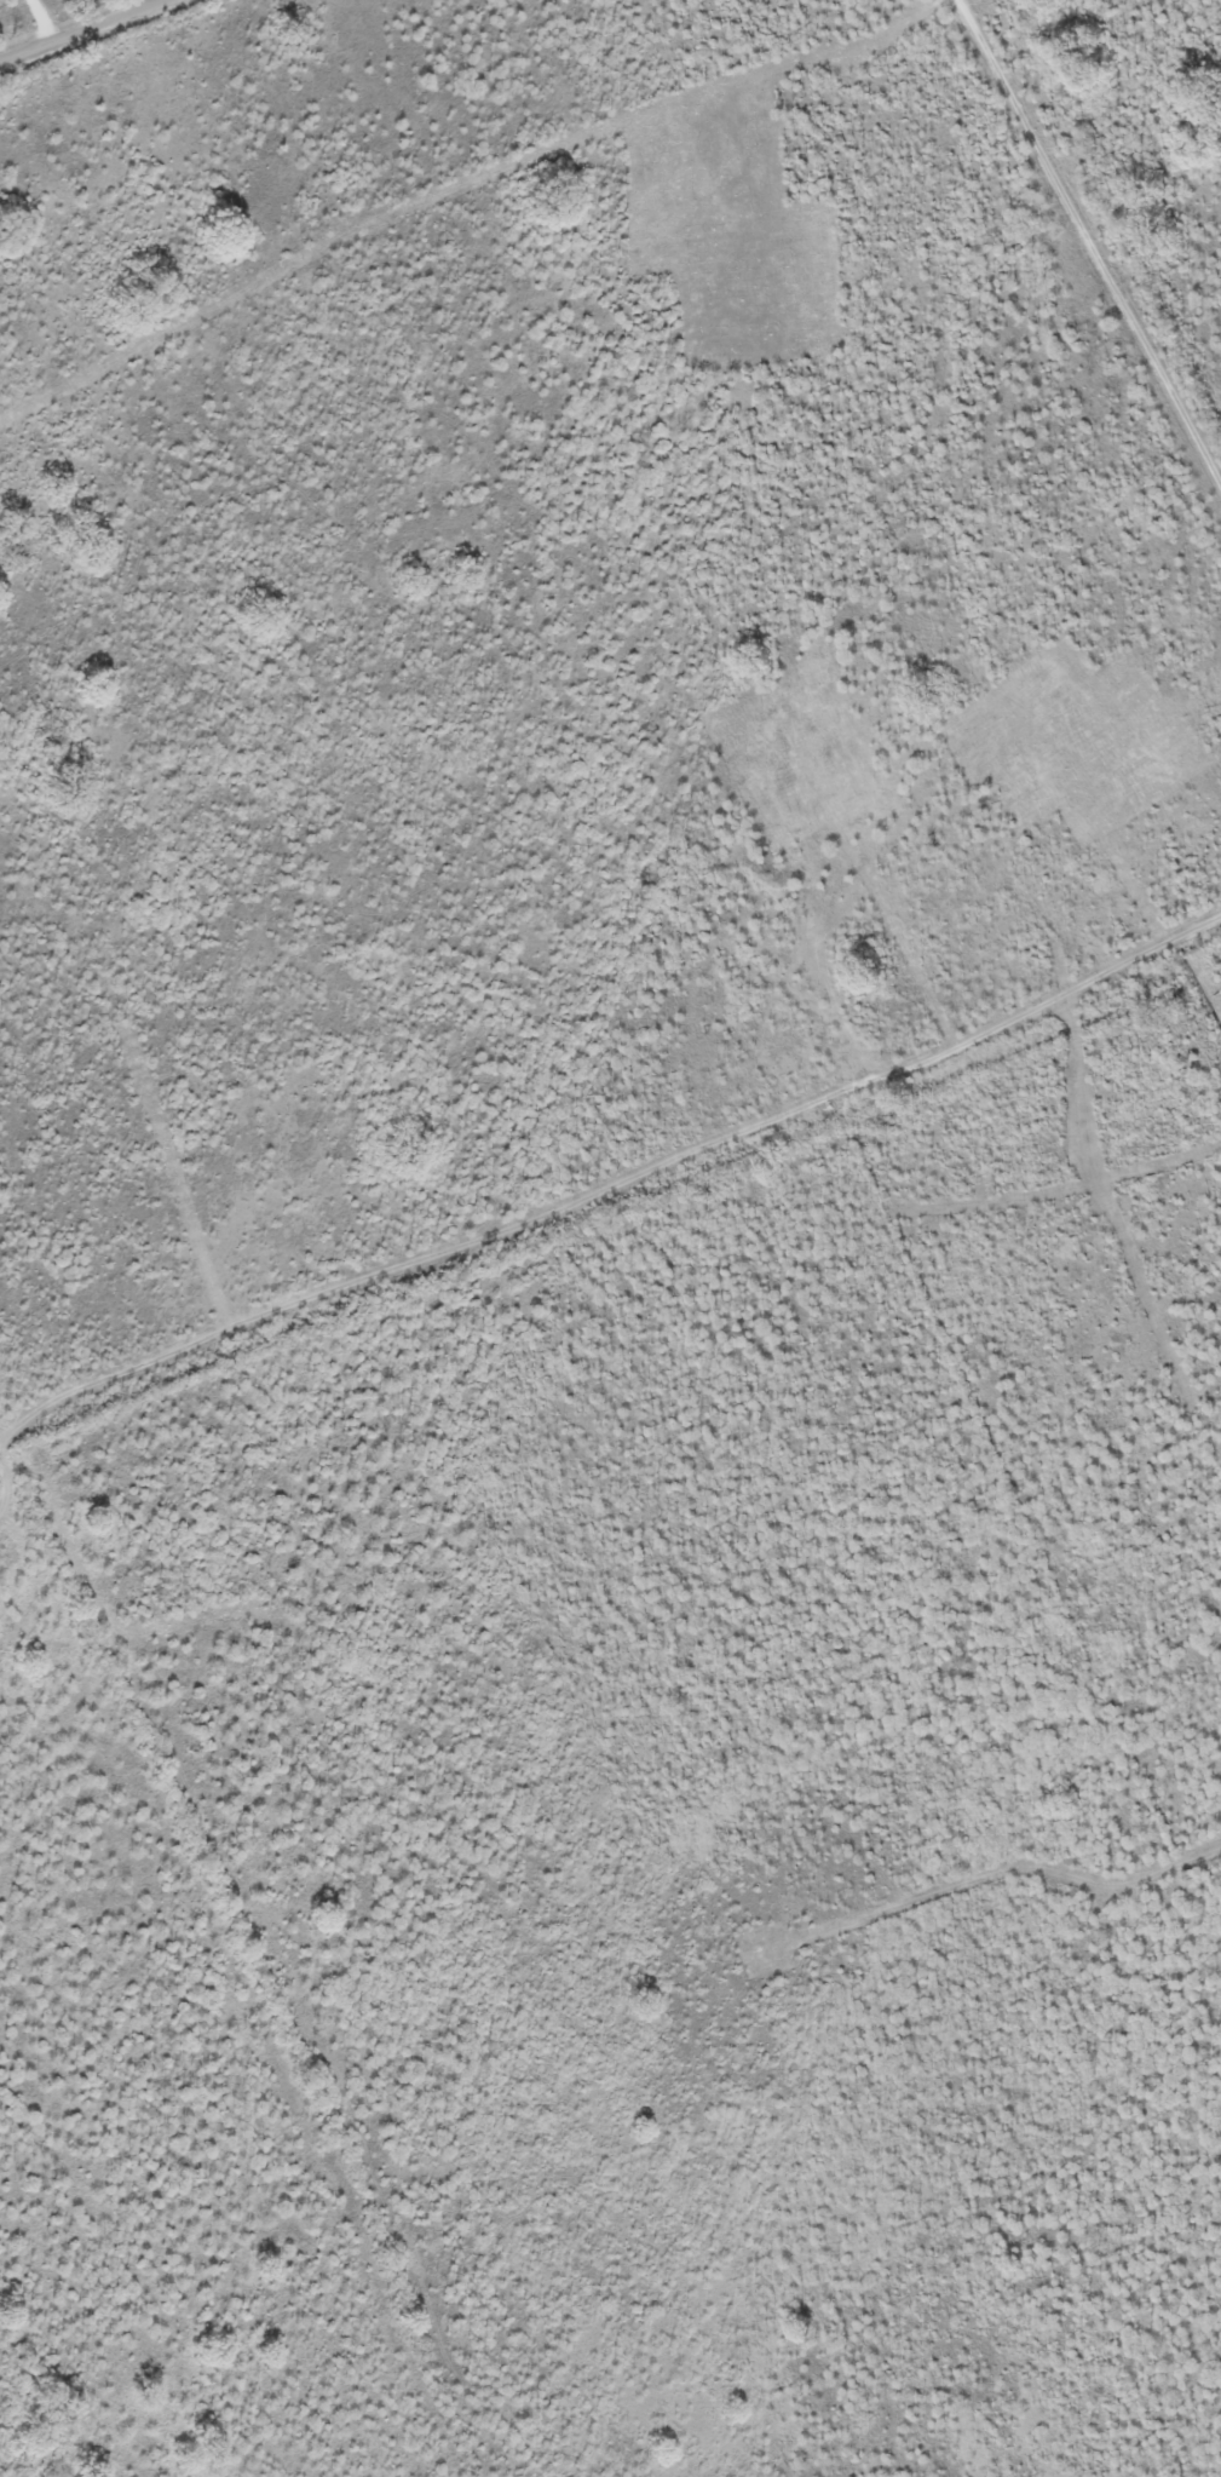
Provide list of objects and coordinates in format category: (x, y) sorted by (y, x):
road: (86, 33)

